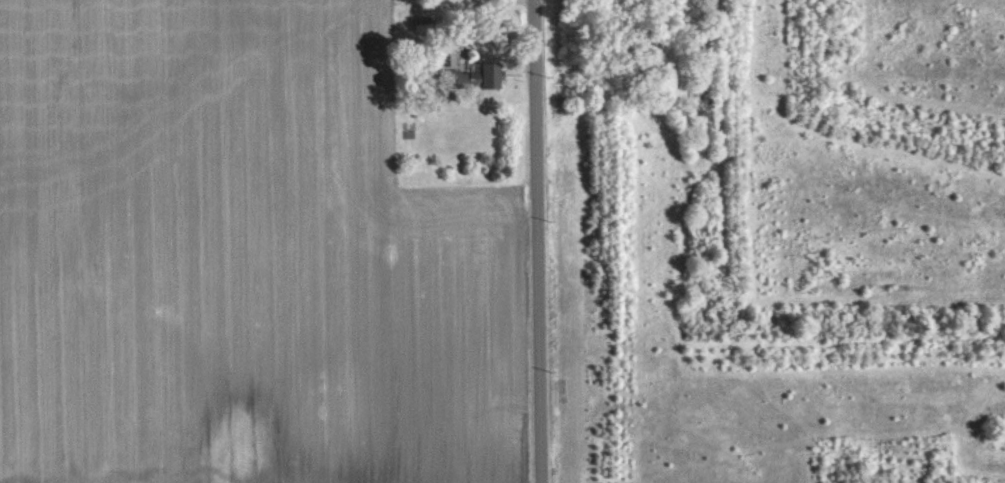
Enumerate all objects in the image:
building: (423, 24)
building: (487, 75)
road: (540, 241)

